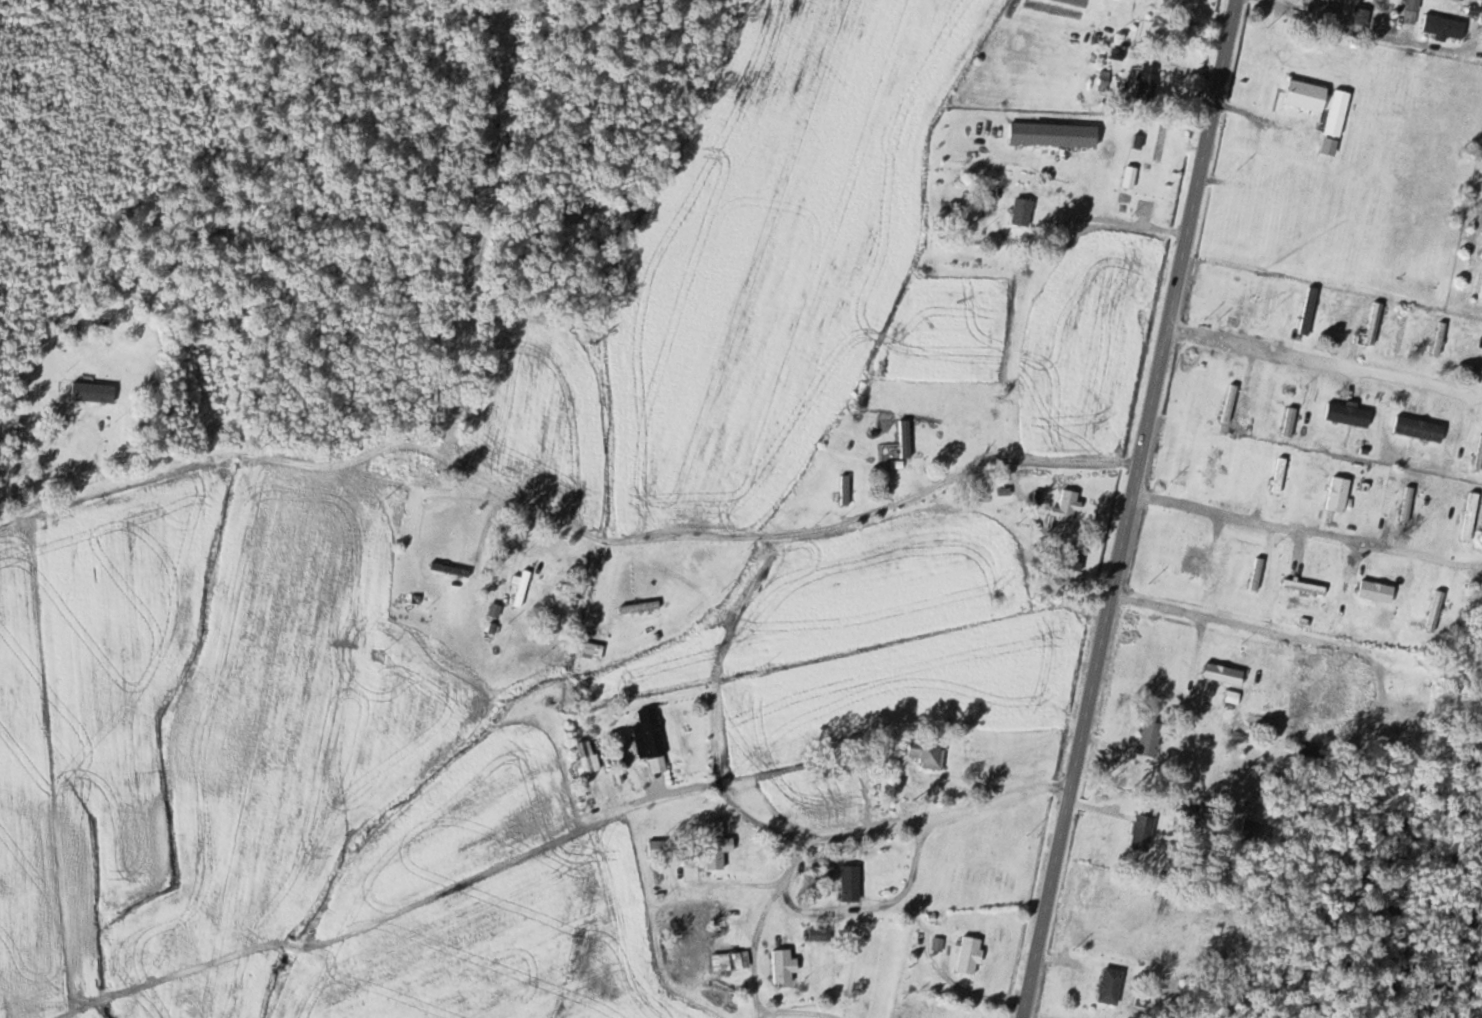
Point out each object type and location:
building: (1319, 8)
building: (1414, 12)
building: (1361, 17)
building: (1445, 28)
building: (1477, 37)
road: (1355, 41)
building: (1149, 84)
building: (1307, 96)
building: (1054, 135)
building: (1131, 177)
building: (957, 209)
building: (1023, 213)
road: (1078, 221)
building: (1481, 294)
building: (1249, 298)
building: (1310, 311)
building: (1376, 322)
road: (1323, 363)
building: (94, 394)
building: (1230, 407)
building: (1349, 416)
building: (1291, 423)
building: (969, 425)
building: (1420, 430)
building: (906, 443)
building: (1480, 457)
building: (1215, 465)
building: (1281, 476)
building: (1340, 495)
building: (1068, 509)
road: (1127, 509)
building: (1472, 517)
road: (1306, 528)
road: (594, 535)
building: (1077, 558)
building: (1195, 562)
building: (1258, 575)
building: (1306, 587)
building: (1378, 592)
building: (520, 593)
building: (641, 607)
building: (1436, 611)
road: (1256, 625)
building: (1217, 673)
building: (1404, 709)
building: (1151, 739)
building: (654, 740)
building: (929, 755)
building: (587, 758)
road: (747, 820)
building: (1255, 831)
building: (1144, 833)
building: (715, 845)
building: (852, 884)
building: (721, 919)
building: (822, 935)
building: (970, 955)
building: (743, 960)
building: (785, 967)
river: (1444, 974)
building: (1112, 986)
building: (1143, 1000)

